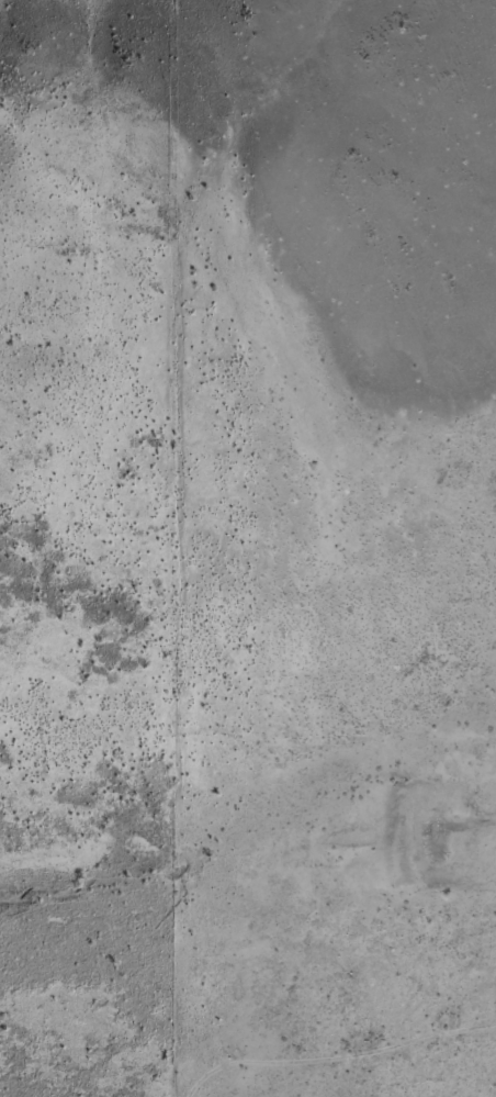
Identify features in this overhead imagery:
road: (347, 1076)

